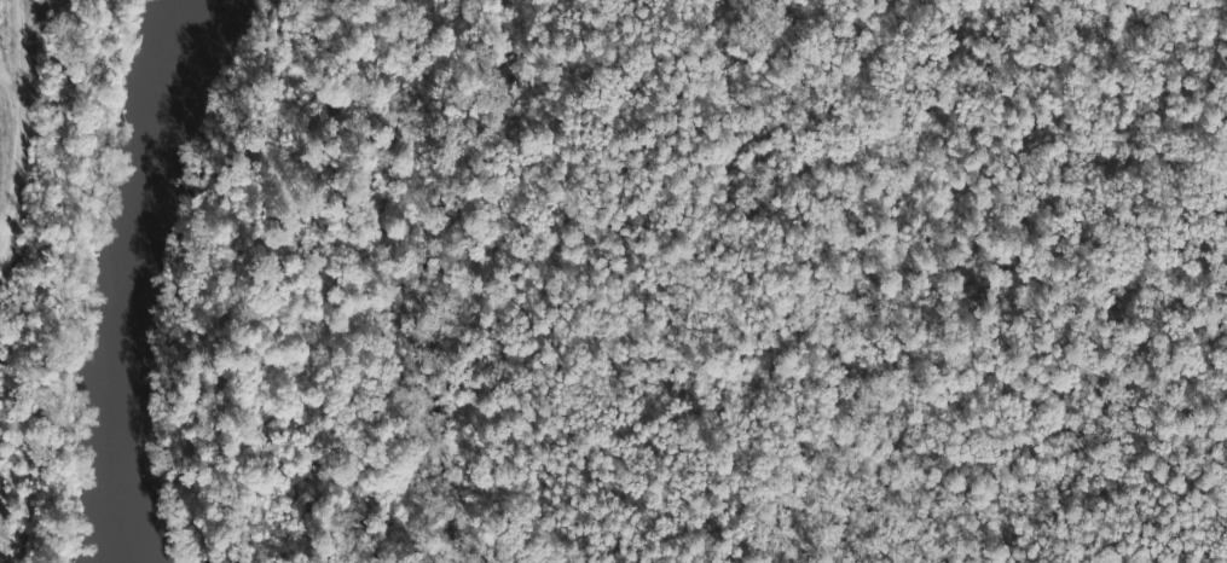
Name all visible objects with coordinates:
river: (120, 274)
road: (295, 284)

